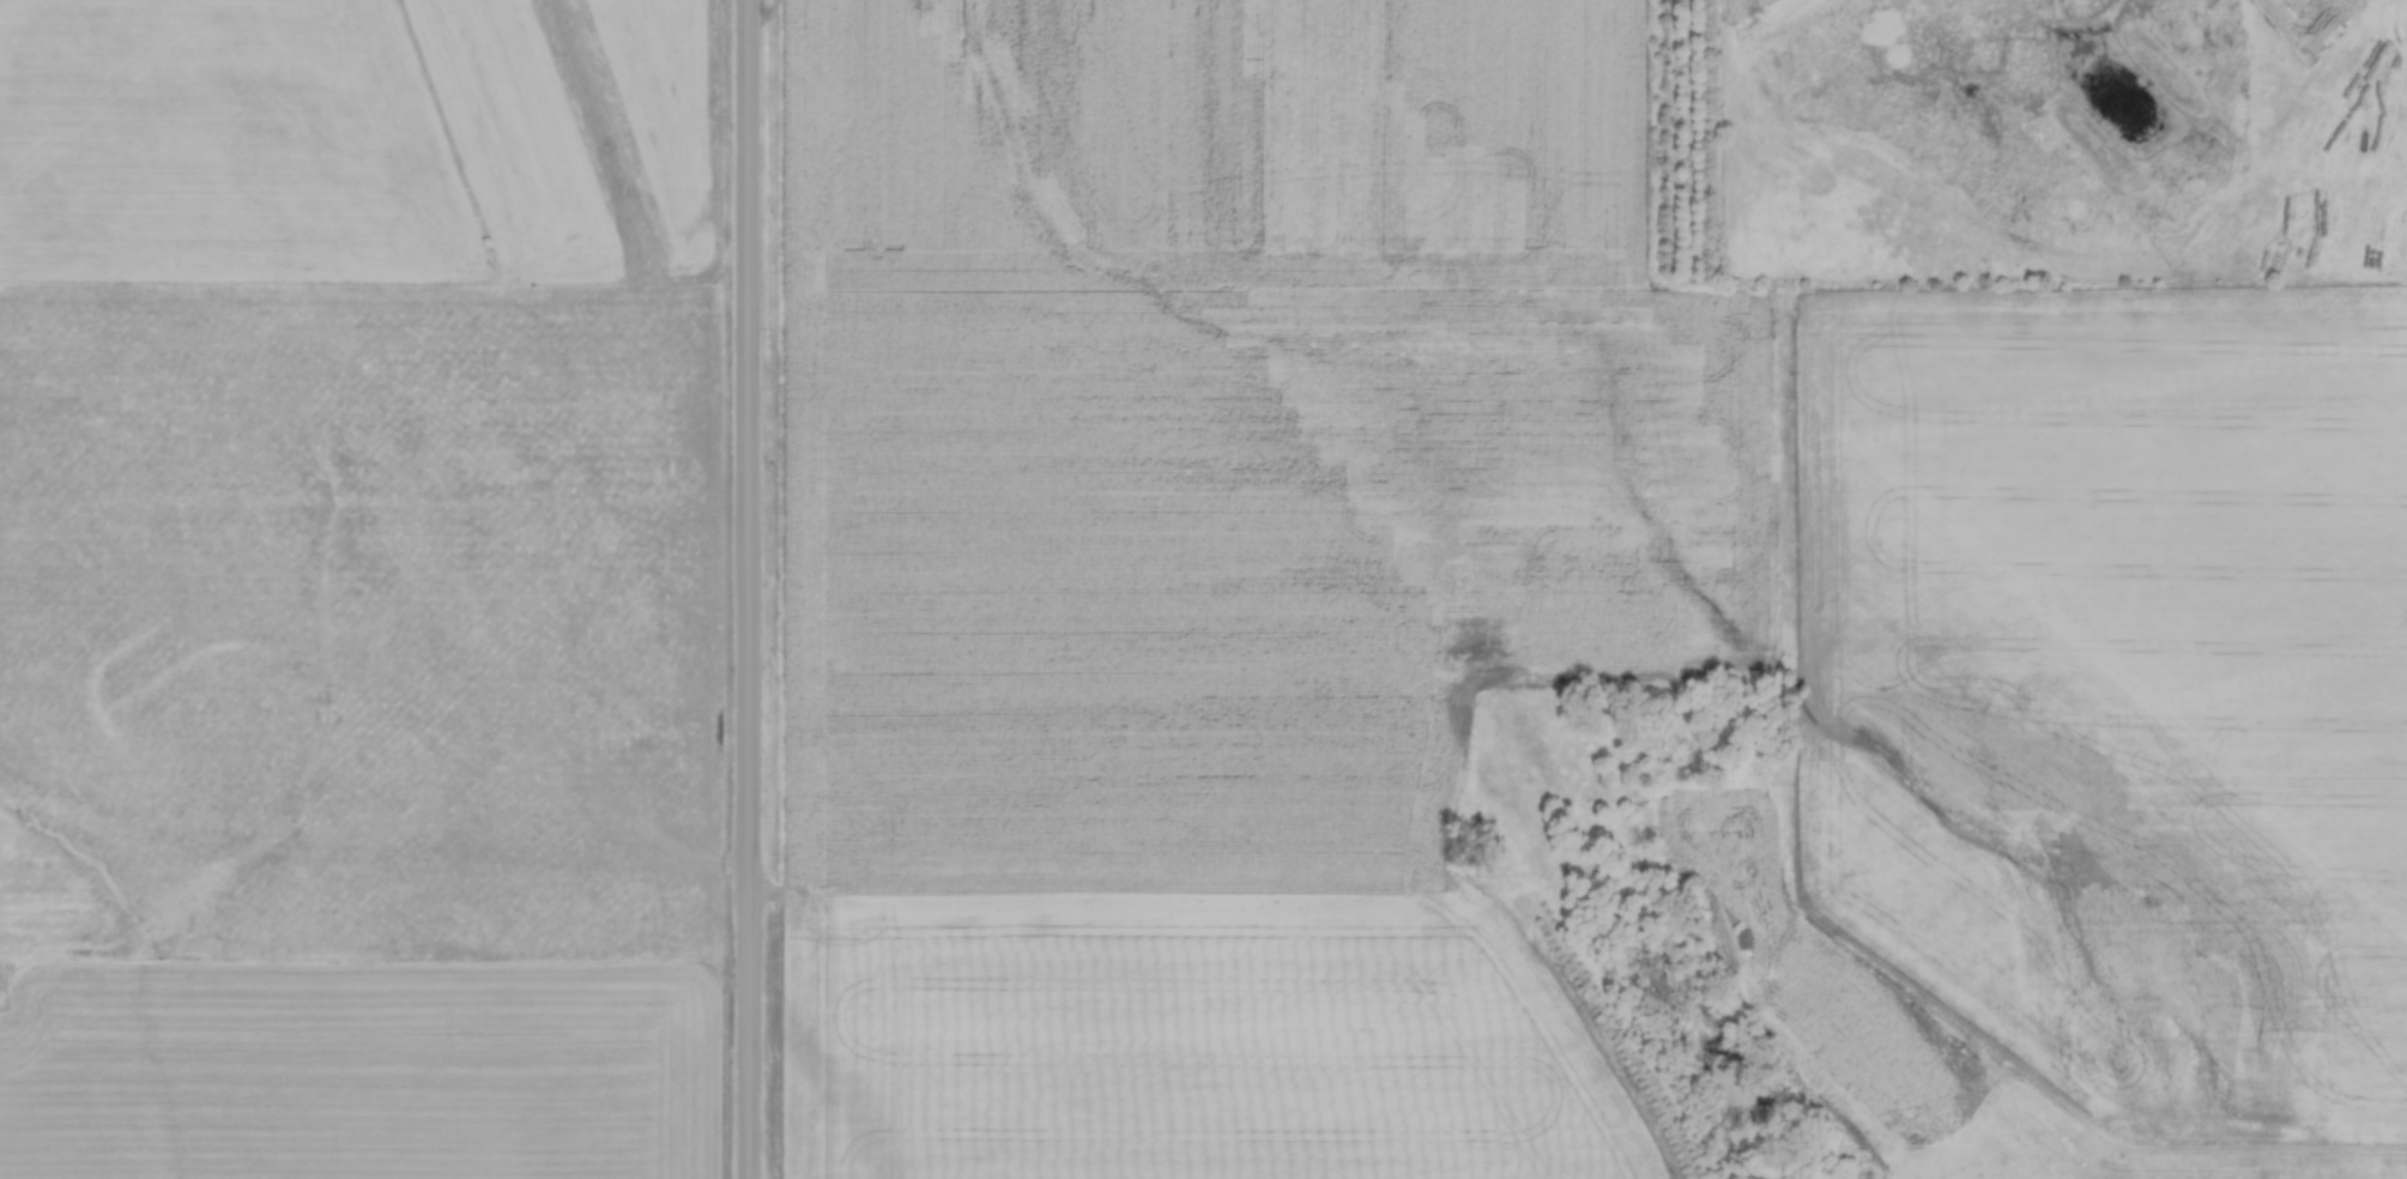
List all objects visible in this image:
airport runway: (606, 102)
road: (744, 588)

